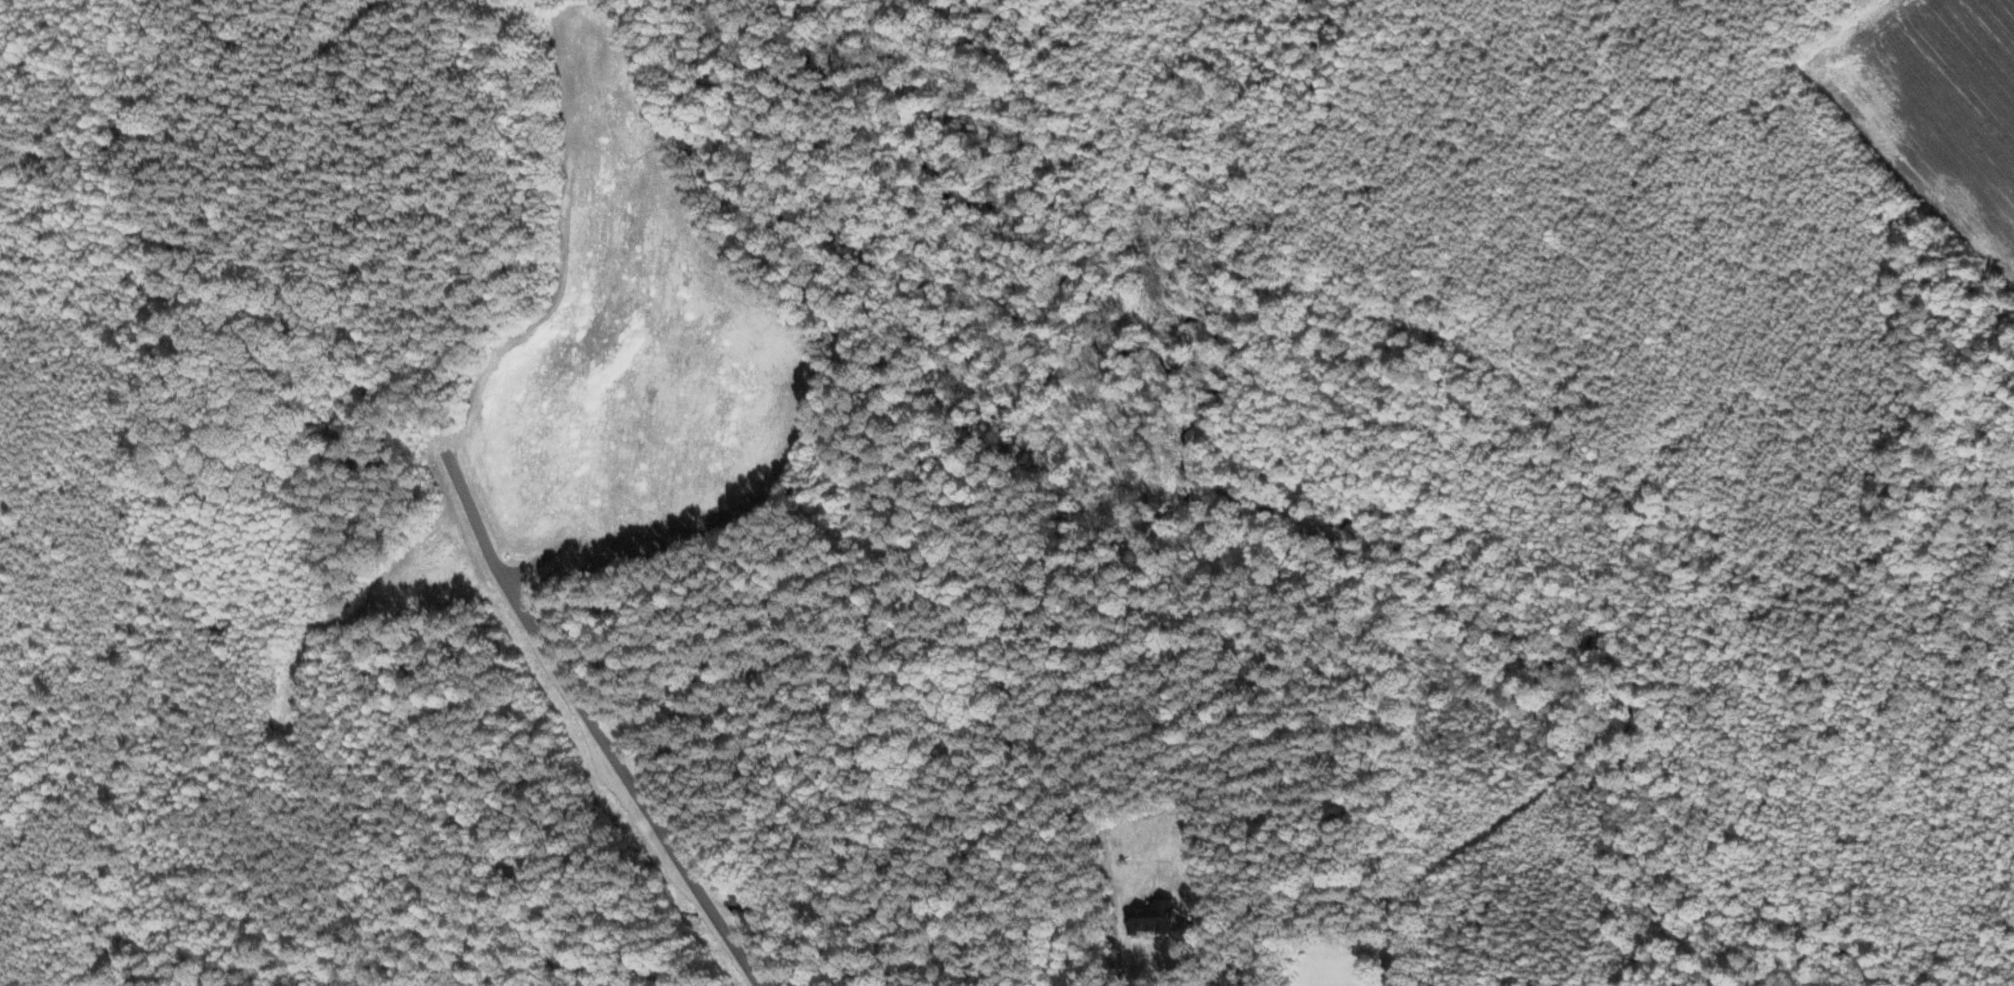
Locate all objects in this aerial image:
road: (584, 727)
building: (1160, 923)

